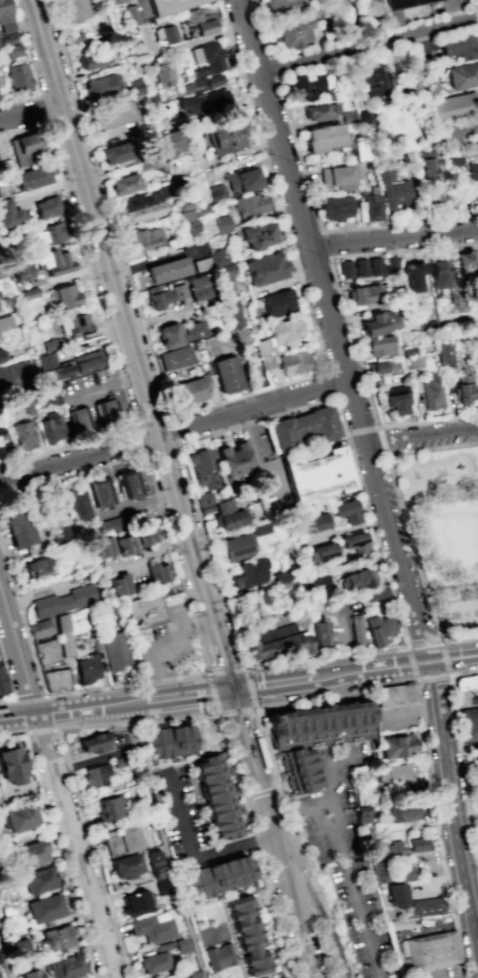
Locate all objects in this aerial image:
building: (112, 1)
building: (331, 2)
road: (477, 3)
building: (169, 5)
building: (281, 7)
building: (70, 9)
building: (397, 9)
building: (4, 13)
building: (201, 21)
building: (168, 33)
road: (265, 33)
building: (294, 33)
road: (368, 44)
building: (459, 48)
building: (13, 50)
building: (206, 58)
building: (92, 60)
road: (32, 69)
building: (163, 74)
building: (464, 75)
building: (19, 78)
building: (307, 84)
building: (372, 84)
building: (100, 86)
building: (133, 87)
building: (201, 101)
building: (450, 106)
building: (320, 111)
road: (46, 112)
road: (33, 114)
building: (112, 115)
building: (365, 119)
building: (465, 127)
building: (223, 135)
building: (447, 135)
building: (323, 138)
building: (171, 141)
building: (358, 148)
building: (23, 149)
building: (116, 153)
building: (455, 161)
building: (427, 168)
building: (473, 170)
building: (337, 176)
building: (32, 177)
building: (243, 180)
building: (125, 183)
building: (215, 192)
building: (397, 194)
building: (145, 198)
building: (475, 200)
building: (250, 204)
building: (46, 207)
building: (339, 208)
building: (373, 209)
building: (144, 212)
building: (9, 213)
building: (221, 222)
road: (304, 223)
road: (321, 224)
railway: (96, 227)
building: (186, 227)
building: (47, 234)
building: (255, 234)
building: (146, 238)
road: (394, 240)
road: (327, 245)
building: (53, 261)
building: (464, 263)
building: (375, 267)
building: (361, 268)
building: (262, 269)
building: (346, 269)
building: (166, 270)
building: (20, 271)
road: (333, 271)
building: (438, 273)
building: (413, 275)
building: (224, 278)
building: (199, 286)
building: (361, 294)
building: (63, 296)
building: (159, 298)
building: (277, 303)
road: (112, 313)
building: (231, 313)
road: (106, 321)
building: (4, 322)
building: (376, 323)
building: (73, 325)
building: (474, 325)
building: (194, 330)
building: (285, 330)
building: (167, 335)
building: (477, 338)
road: (134, 344)
building: (379, 345)
building: (261, 346)
building: (408, 351)
building: (443, 352)
building: (0, 357)
building: (174, 357)
building: (87, 361)
building: (265, 361)
building: (412, 361)
building: (293, 362)
building: (382, 367)
building: (51, 368)
building: (225, 374)
building: (12, 378)
building: (463, 386)
building: (189, 390)
building: (432, 392)
building: (50, 394)
building: (396, 403)
road: (228, 406)
building: (106, 409)
building: (78, 420)
road: (428, 421)
building: (51, 428)
building: (302, 428)
road: (361, 431)
building: (23, 435)
road: (174, 435)
road: (177, 436)
road: (421, 439)
road: (140, 441)
building: (3, 443)
road: (383, 443)
road: (348, 447)
building: (233, 459)
building: (201, 469)
building: (316, 475)
building: (129, 484)
building: (100, 491)
building: (204, 502)
building: (77, 503)
road: (441, 504)
road: (403, 507)
building: (345, 511)
building: (227, 515)
building: (110, 523)
building: (312, 523)
building: (18, 524)
park: (446, 532)
building: (146, 534)
building: (60, 535)
building: (354, 542)
building: (125, 544)
building: (102, 546)
building: (235, 547)
building: (320, 552)
road: (395, 552)
building: (37, 567)
building: (158, 572)
building: (247, 573)
building: (282, 574)
building: (356, 579)
building: (119, 584)
building: (375, 594)
building: (63, 600)
building: (148, 614)
park: (462, 618)
building: (39, 628)
building: (379, 628)
building: (356, 629)
building: (320, 631)
railway: (215, 634)
building: (62, 635)
road: (235, 639)
road: (459, 639)
parking lot: (165, 643)
building: (276, 643)
road: (423, 643)
road: (163, 646)
road: (201, 649)
building: (115, 650)
building: (45, 651)
road: (440, 653)
road: (467, 655)
road: (411, 656)
road: (214, 658)
road: (444, 658)
road: (411, 663)
road: (444, 663)
road: (416, 666)
building: (87, 668)
road: (368, 669)
road: (226, 671)
road: (8, 673)
road: (432, 678)
building: (55, 680)
building: (2, 682)
road: (283, 682)
road: (391, 684)
building: (465, 687)
traffic signals: (238, 688)
traffic signals: (231, 689)
road: (227, 690)
road: (249, 690)
traffic signals: (223, 691)
road: (213, 695)
building: (396, 695)
road: (176, 696)
road: (31, 698)
road: (8, 701)
road: (65, 710)
road: (49, 711)
road: (237, 712)
road: (18, 715)
parking lot: (399, 721)
building: (468, 723)
road: (70, 726)
road: (249, 726)
road: (39, 729)
building: (313, 738)
building: (94, 742)
road: (459, 742)
building: (169, 743)
building: (396, 745)
road: (460, 749)
building: (475, 752)
road: (245, 764)
building: (11, 766)
building: (395, 773)
building: (96, 775)
building: (477, 775)
road: (56, 782)
building: (477, 791)
road: (261, 793)
building: (362, 794)
road: (330, 799)
building: (213, 800)
road: (270, 800)
building: (109, 808)
road: (450, 808)
parking lot: (333, 809)
building: (401, 811)
parking lot: (182, 814)
building: (361, 814)
building: (18, 819)
building: (121, 839)
road: (55, 843)
road: (476, 844)
road: (256, 845)
building: (421, 845)
building: (387, 851)
building: (32, 852)
road: (341, 854)
road: (194, 858)
building: (125, 865)
building: (218, 868)
road: (443, 870)
building: (158, 871)
building: (381, 875)
building: (408, 875)
building: (39, 879)
road: (443, 885)
railway: (310, 894)
building: (399, 898)
building: (134, 902)
road: (295, 906)
building: (428, 907)
building: (44, 908)
park: (327, 913)
road: (363, 915)
road: (278, 916)
parking lot: (362, 918)
railway: (326, 924)
building: (153, 927)
building: (247, 932)
building: (56, 937)
building: (182, 945)
building: (19, 948)
road: (7, 950)
building: (433, 952)
building: (219, 956)
building: (154, 961)
building: (65, 967)
building: (31, 973)
building: (191, 973)
parking lot: (444, 974)
building: (280, 976)

